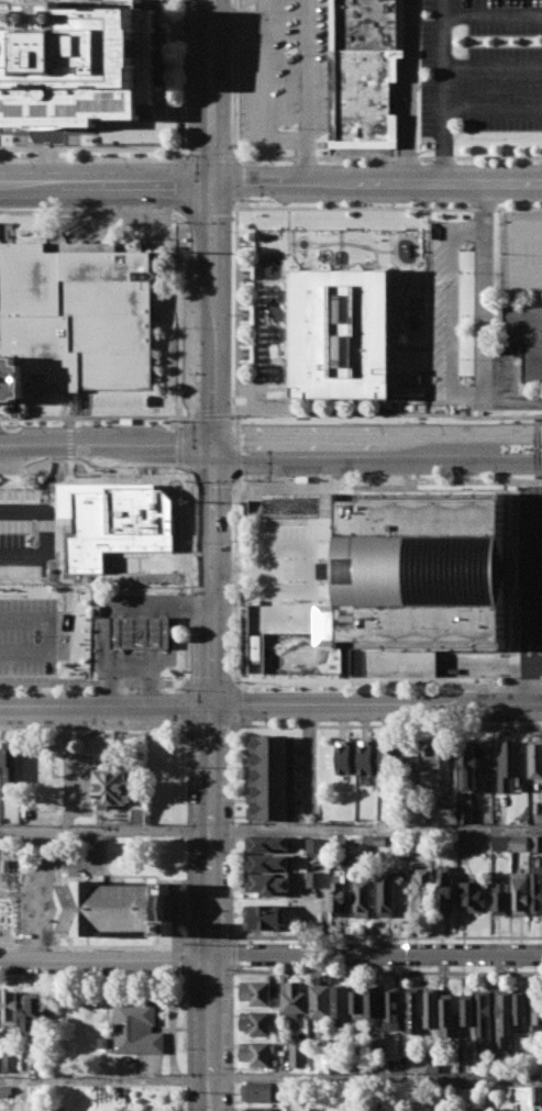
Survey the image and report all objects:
road: (493, 13)
road: (236, 14)
road: (261, 21)
road: (236, 26)
building: (74, 62)
parking lot: (482, 65)
road: (493, 65)
road: (263, 68)
road: (305, 69)
building: (365, 71)
road: (235, 79)
road: (185, 80)
road: (211, 91)
road: (409, 92)
road: (444, 92)
road: (153, 103)
road: (493, 110)
road: (284, 137)
flagpole: (47, 144)
road: (92, 148)
road: (211, 158)
road: (92, 159)
road: (305, 160)
road: (237, 179)
road: (104, 184)
traffic signals: (210, 184)
road: (376, 184)
road: (179, 186)
road: (210, 207)
road: (89, 210)
road: (180, 214)
parking lot: (520, 253)
road: (511, 255)
road: (210, 311)
building: (78, 313)
road: (449, 313)
road: (180, 320)
road: (486, 321)
parking lot: (472, 322)
building: (344, 331)
building: (523, 337)
building: (10, 379)
road: (375, 435)
road: (104, 438)
traffic signals: (210, 440)
road: (239, 440)
road: (179, 448)
road: (210, 452)
road: (106, 462)
road: (376, 463)
traffic signals: (211, 464)
road: (89, 477)
road: (386, 481)
road: (188, 482)
road: (211, 482)
building: (99, 521)
road: (24, 531)
building: (422, 568)
road: (530, 571)
road: (187, 574)
parking lot: (524, 578)
parking lot: (20, 582)
road: (211, 582)
road: (111, 608)
road: (36, 630)
building: (139, 632)
gas station: (139, 632)
road: (529, 635)
road: (173, 643)
building: (255, 648)
road: (147, 662)
road: (389, 680)
road: (236, 682)
road: (92, 684)
road: (186, 684)
road: (211, 684)
road: (530, 684)
road: (185, 686)
road: (234, 701)
traffic signals: (213, 702)
road: (377, 702)
road: (107, 703)
road: (186, 704)
road: (95, 726)
road: (386, 727)
road: (186, 729)
road: (229, 729)
road: (190, 730)
road: (209, 730)
road: (308, 755)
building: (345, 757)
building: (366, 757)
building: (389, 757)
building: (535, 758)
building: (10, 763)
building: (441, 763)
building: (509, 764)
building: (471, 767)
building: (270, 778)
building: (112, 787)
road: (187, 809)
building: (137, 815)
building: (465, 815)
road: (270, 830)
road: (231, 831)
building: (342, 840)
building: (374, 840)
building: (266, 843)
building: (397, 843)
building: (538, 843)
building: (520, 844)
building: (314, 845)
building: (266, 863)
building: (316, 879)
building: (269, 884)
building: (445, 888)
building: (422, 889)
building: (537, 889)
building: (387, 892)
building: (520, 892)
building: (340, 895)
building: (473, 896)
building: (362, 897)
building: (500, 898)
road: (211, 907)
building: (112, 908)
building: (264, 918)
road: (386, 937)
road: (121, 946)
road: (187, 948)
road: (231, 954)
road: (270, 956)
road: (187, 962)
road: (386, 971)
building: (255, 992)
building: (292, 999)
building: (320, 1001)
building: (357, 1003)
building: (374, 1003)
building: (341, 1006)
building: (537, 1006)
building: (519, 1007)
building: (10, 1008)
building: (392, 1008)
building: (431, 1008)
building: (33, 1011)
building: (467, 1011)
building: (412, 1012)
building: (447, 1014)
building: (484, 1015)
building: (502, 1015)
road: (173, 1022)
building: (256, 1023)
building: (137, 1027)
road: (231, 1037)
road: (188, 1041)
building: (103, 1042)
building: (257, 1053)
building: (298, 1056)
building: (9, 1063)
building: (0, 1064)
road: (104, 1078)
road: (376, 1078)
building: (5, 1091)
building: (261, 1092)
building: (529, 1098)
building: (420, 1107)
building: (58, 1109)
building: (258, 1109)

